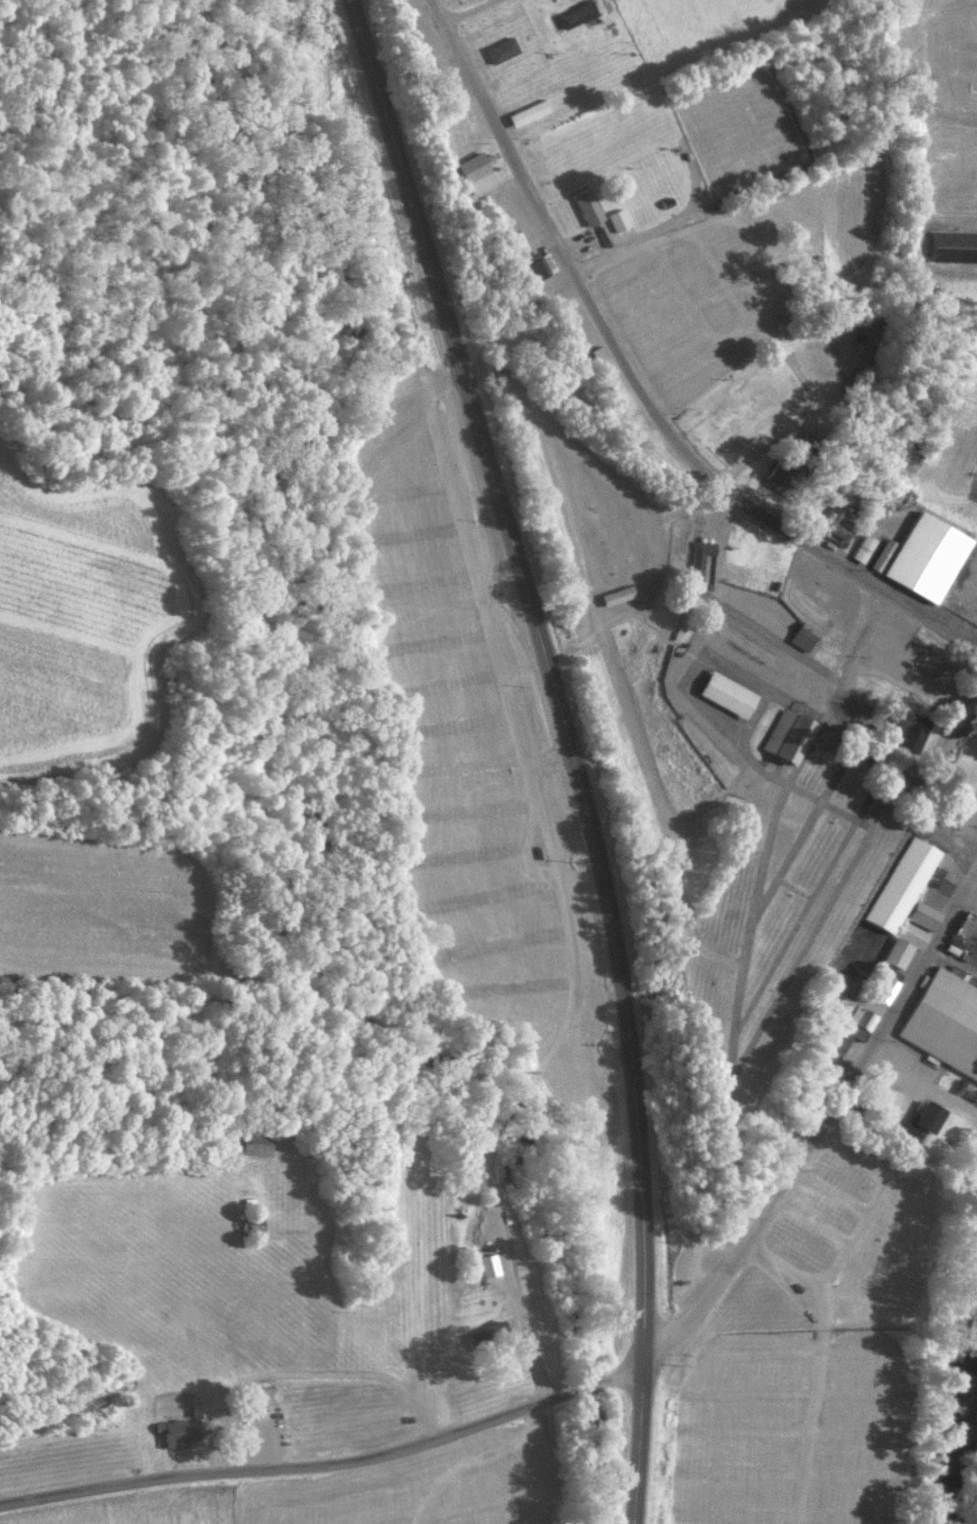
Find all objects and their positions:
road: (471, 11)
building: (577, 14)
building: (503, 49)
building: (529, 112)
building: (478, 171)
road: (331, 184)
building: (587, 206)
building: (620, 220)
building: (954, 246)
building: (541, 266)
road: (637, 386)
building: (779, 475)
road: (644, 505)
building: (836, 525)
building: (863, 547)
building: (884, 554)
building: (926, 555)
building: (700, 556)
building: (618, 594)
road: (629, 600)
road: (751, 623)
building: (804, 635)
road: (571, 644)
road: (608, 657)
building: (728, 693)
building: (909, 728)
building: (787, 735)
building: (947, 743)
road: (571, 750)
road: (867, 750)
road: (829, 804)
road: (805, 826)
road: (972, 873)
building: (899, 884)
road: (793, 887)
road: (559, 889)
road: (809, 899)
building: (920, 914)
building: (963, 922)
road: (814, 929)
building: (910, 933)
building: (951, 948)
building: (898, 954)
building: (964, 954)
building: (955, 970)
road: (741, 976)
building: (965, 976)
building: (972, 980)
building: (976, 985)
building: (887, 989)
building: (862, 1016)
building: (945, 1020)
building: (845, 1046)
building: (828, 1081)
building: (959, 1084)
building: (968, 1092)
building: (975, 1095)
building: (924, 1119)
building: (257, 1143)
road: (830, 1191)
road: (870, 1200)
road: (815, 1220)
building: (489, 1264)
road: (806, 1280)
road: (783, 1284)
road: (607, 1380)
building: (265, 1394)
building: (198, 1410)
river: (956, 1425)
building: (177, 1432)

